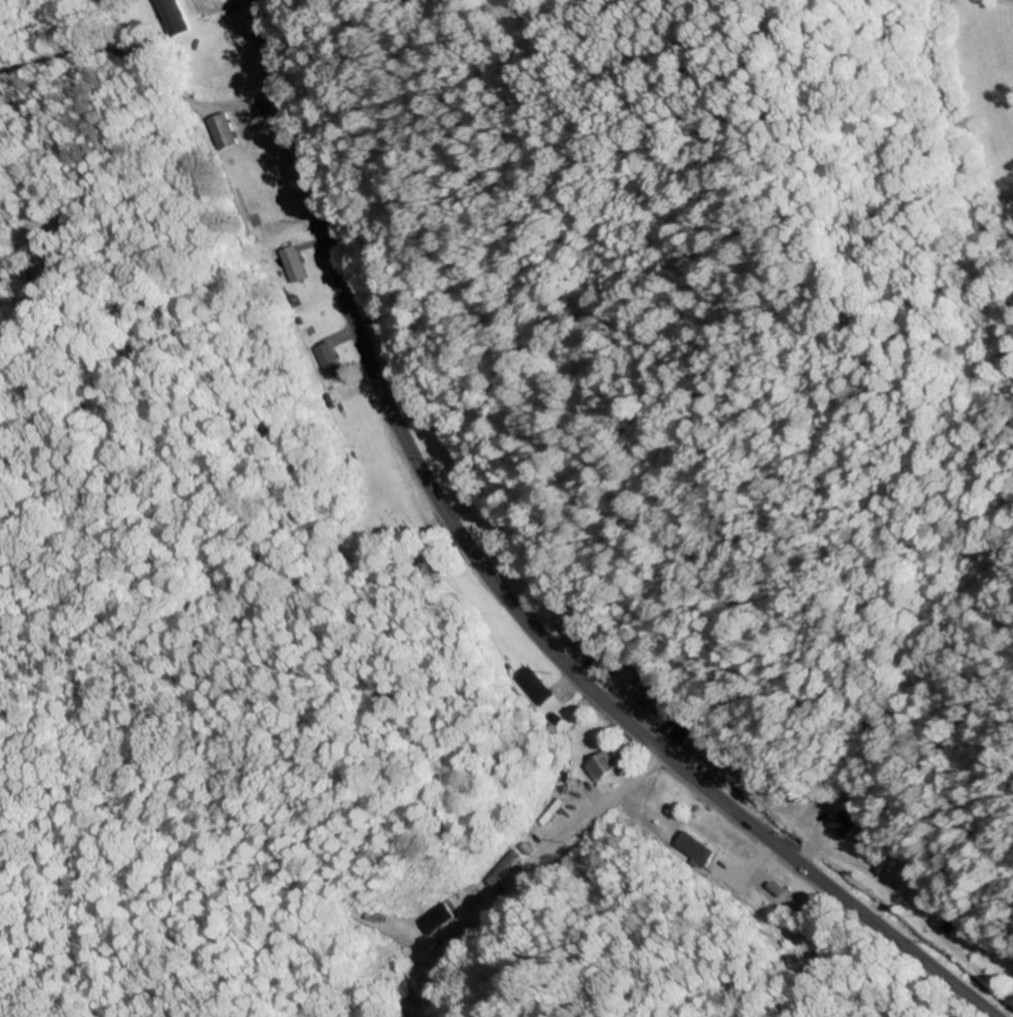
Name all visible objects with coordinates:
building: (212, 7)
building: (173, 18)
road: (142, 61)
building: (222, 133)
road: (6, 257)
building: (296, 265)
building: (329, 361)
park: (389, 528)
road: (504, 593)
building: (576, 637)
building: (536, 688)
building: (649, 699)
building: (606, 768)
road: (605, 809)
building: (850, 824)
building: (696, 850)
building: (440, 920)

